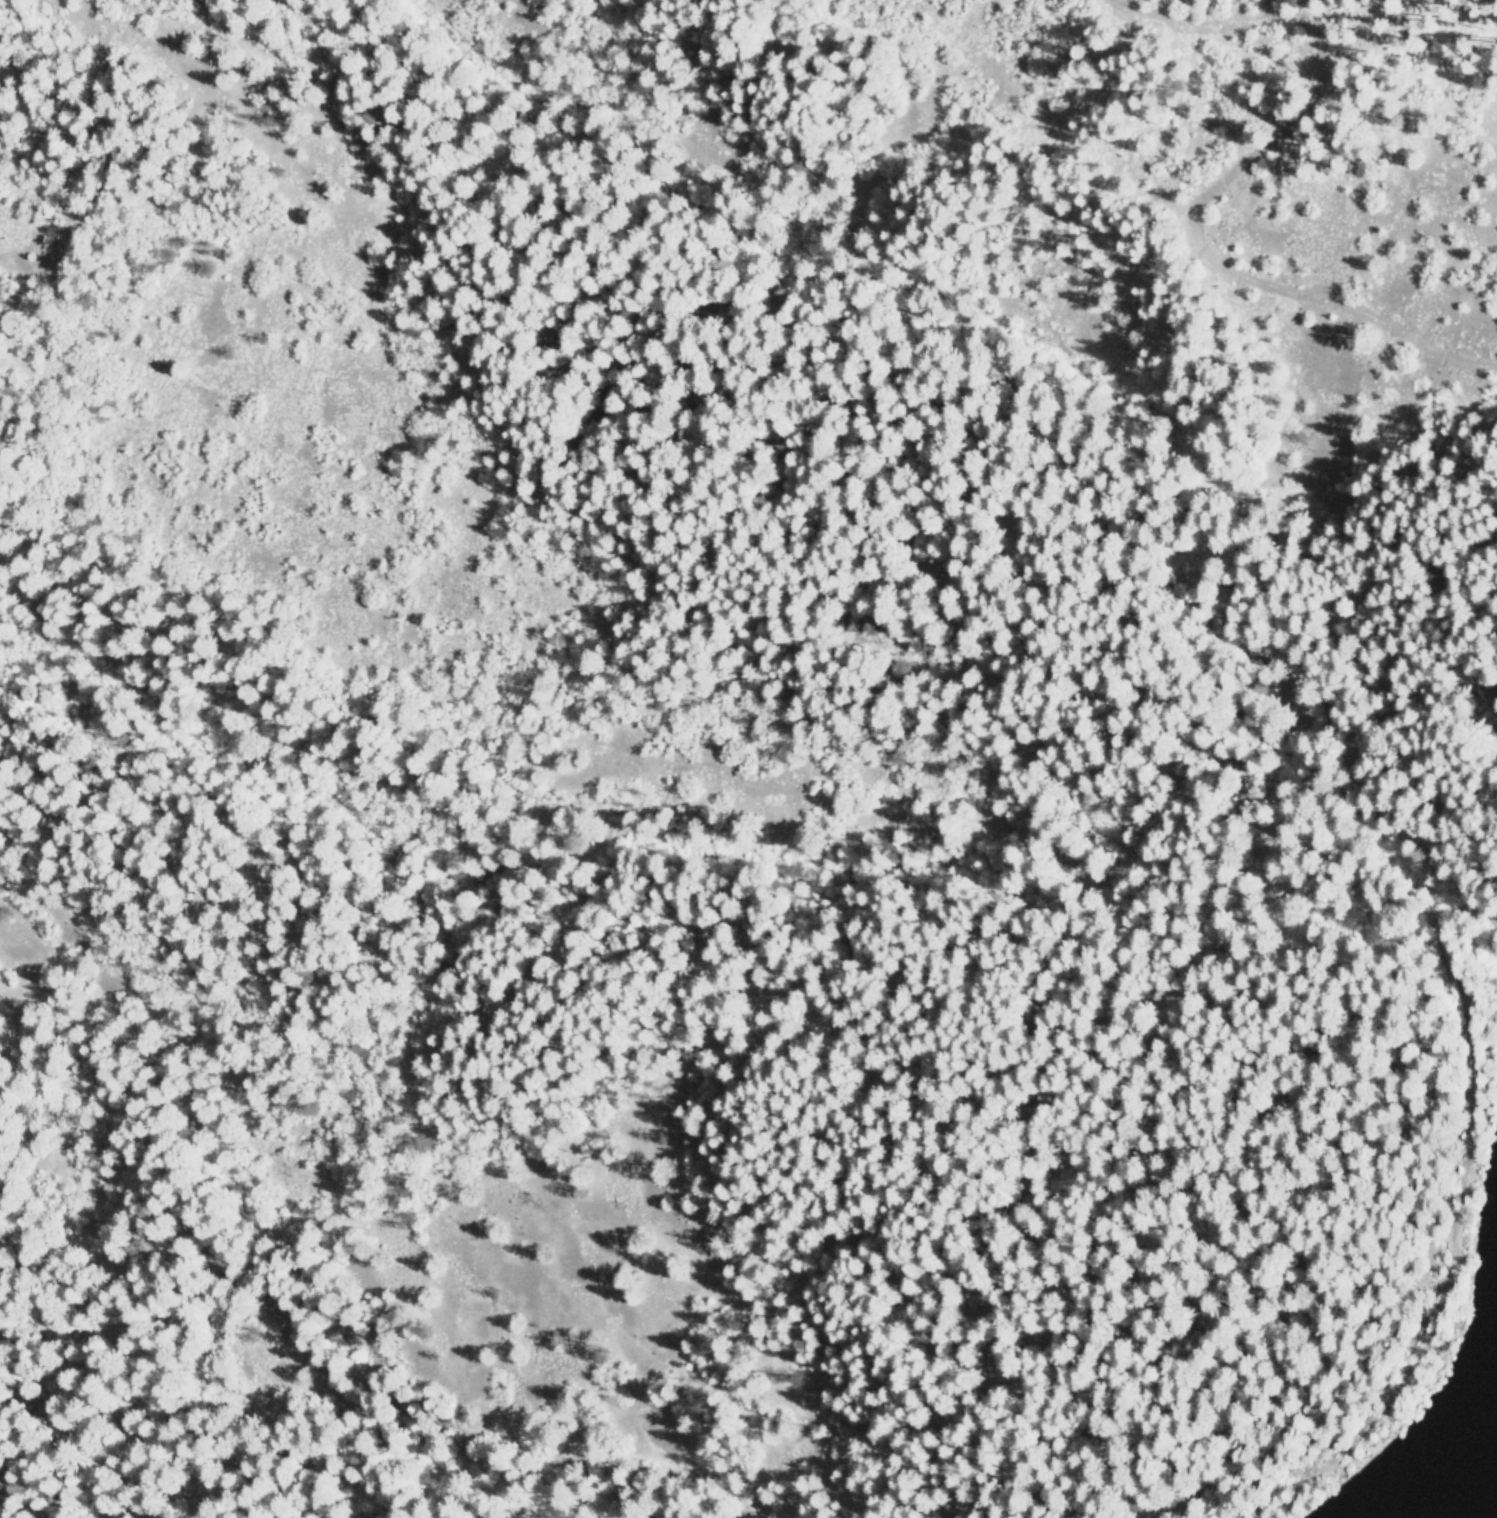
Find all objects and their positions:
road: (1232, 220)
road: (1485, 704)
road: (1475, 917)

